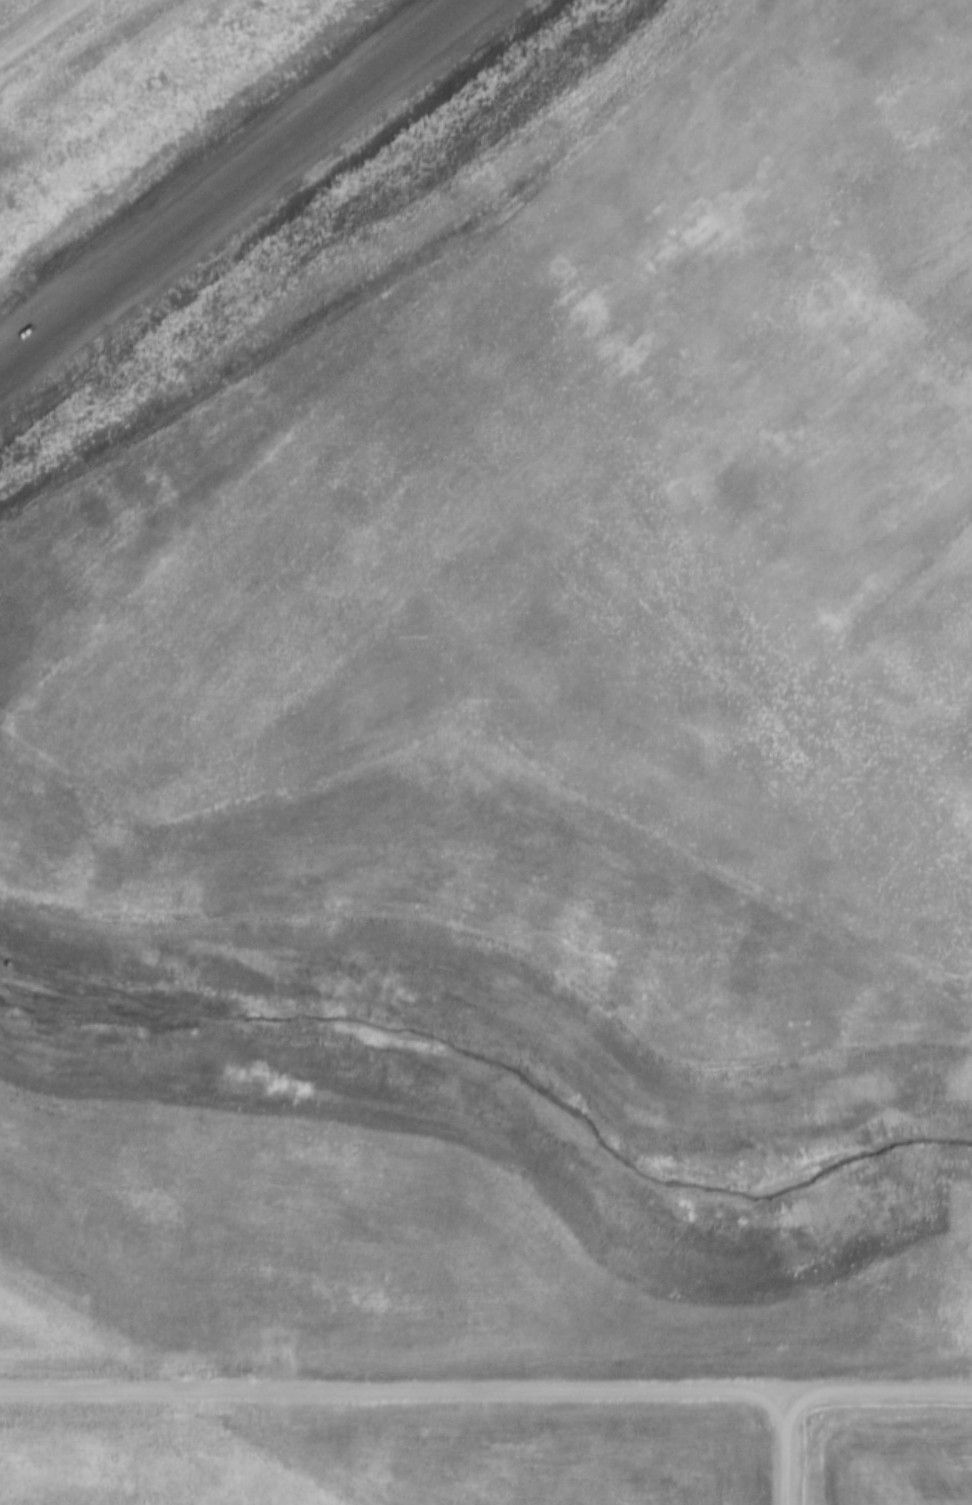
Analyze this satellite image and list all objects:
quarry: (602, 510)

